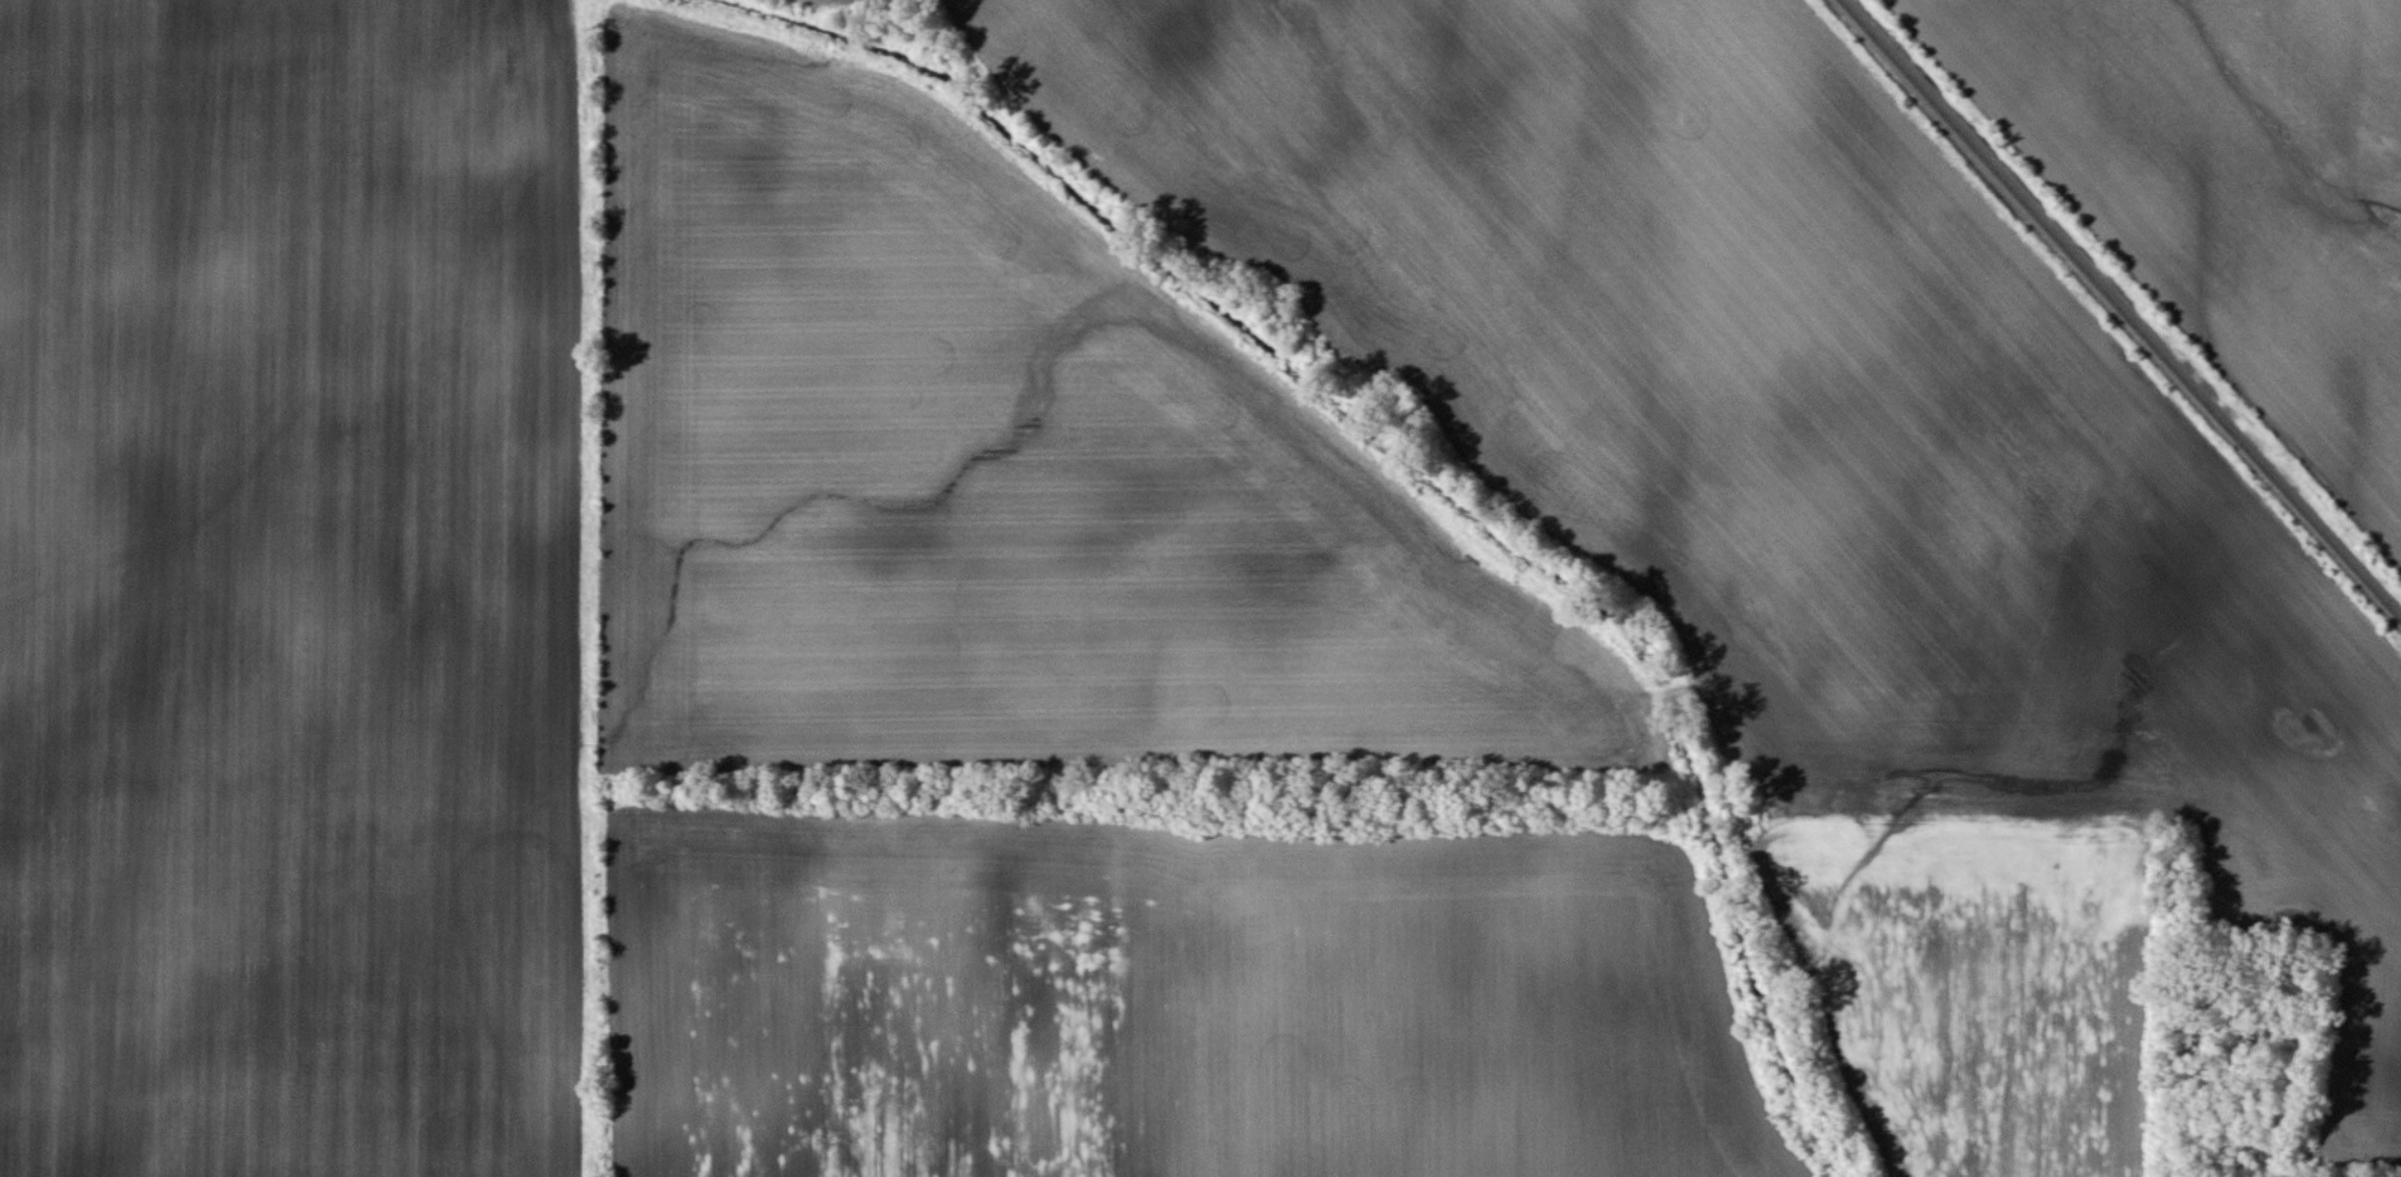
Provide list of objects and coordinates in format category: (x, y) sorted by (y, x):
railway: (2121, 309)

